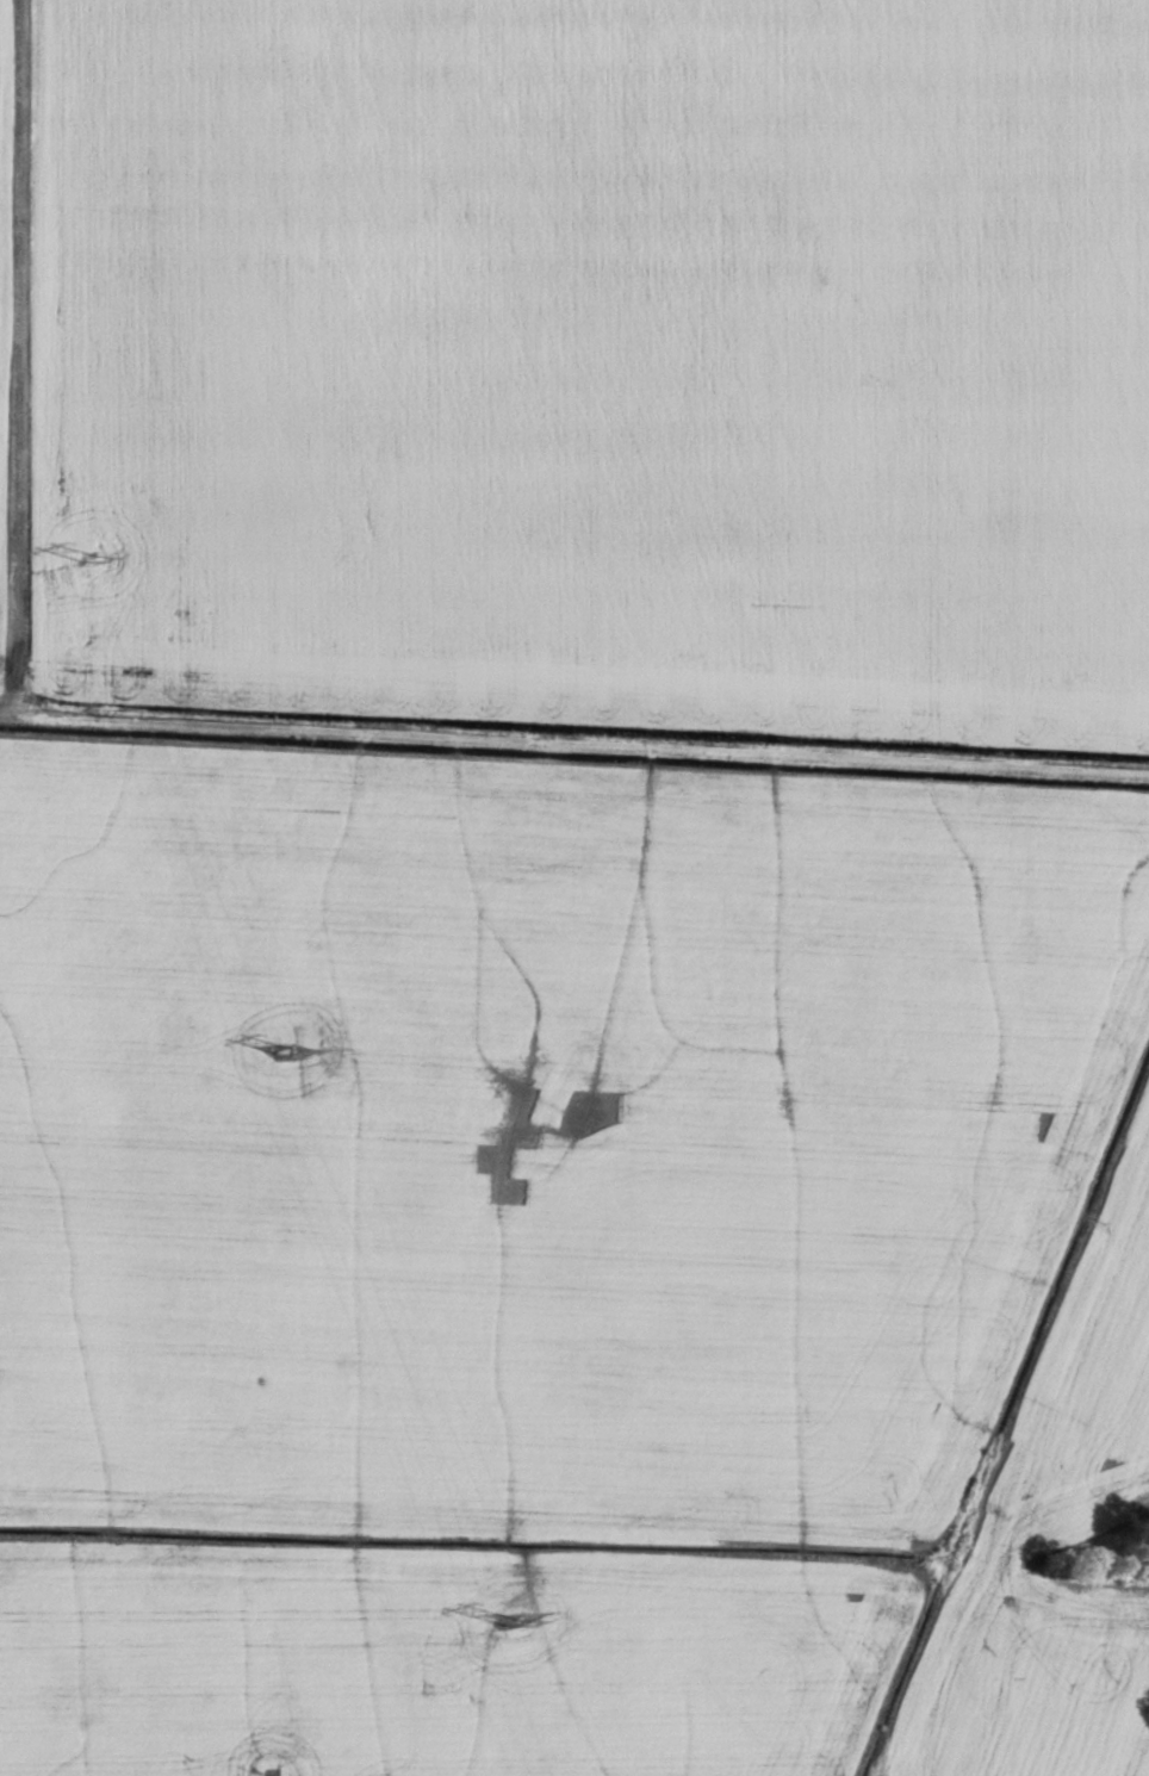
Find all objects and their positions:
power tower: (89, 553)
power tower: (287, 1045)
power tower: (513, 1617)

